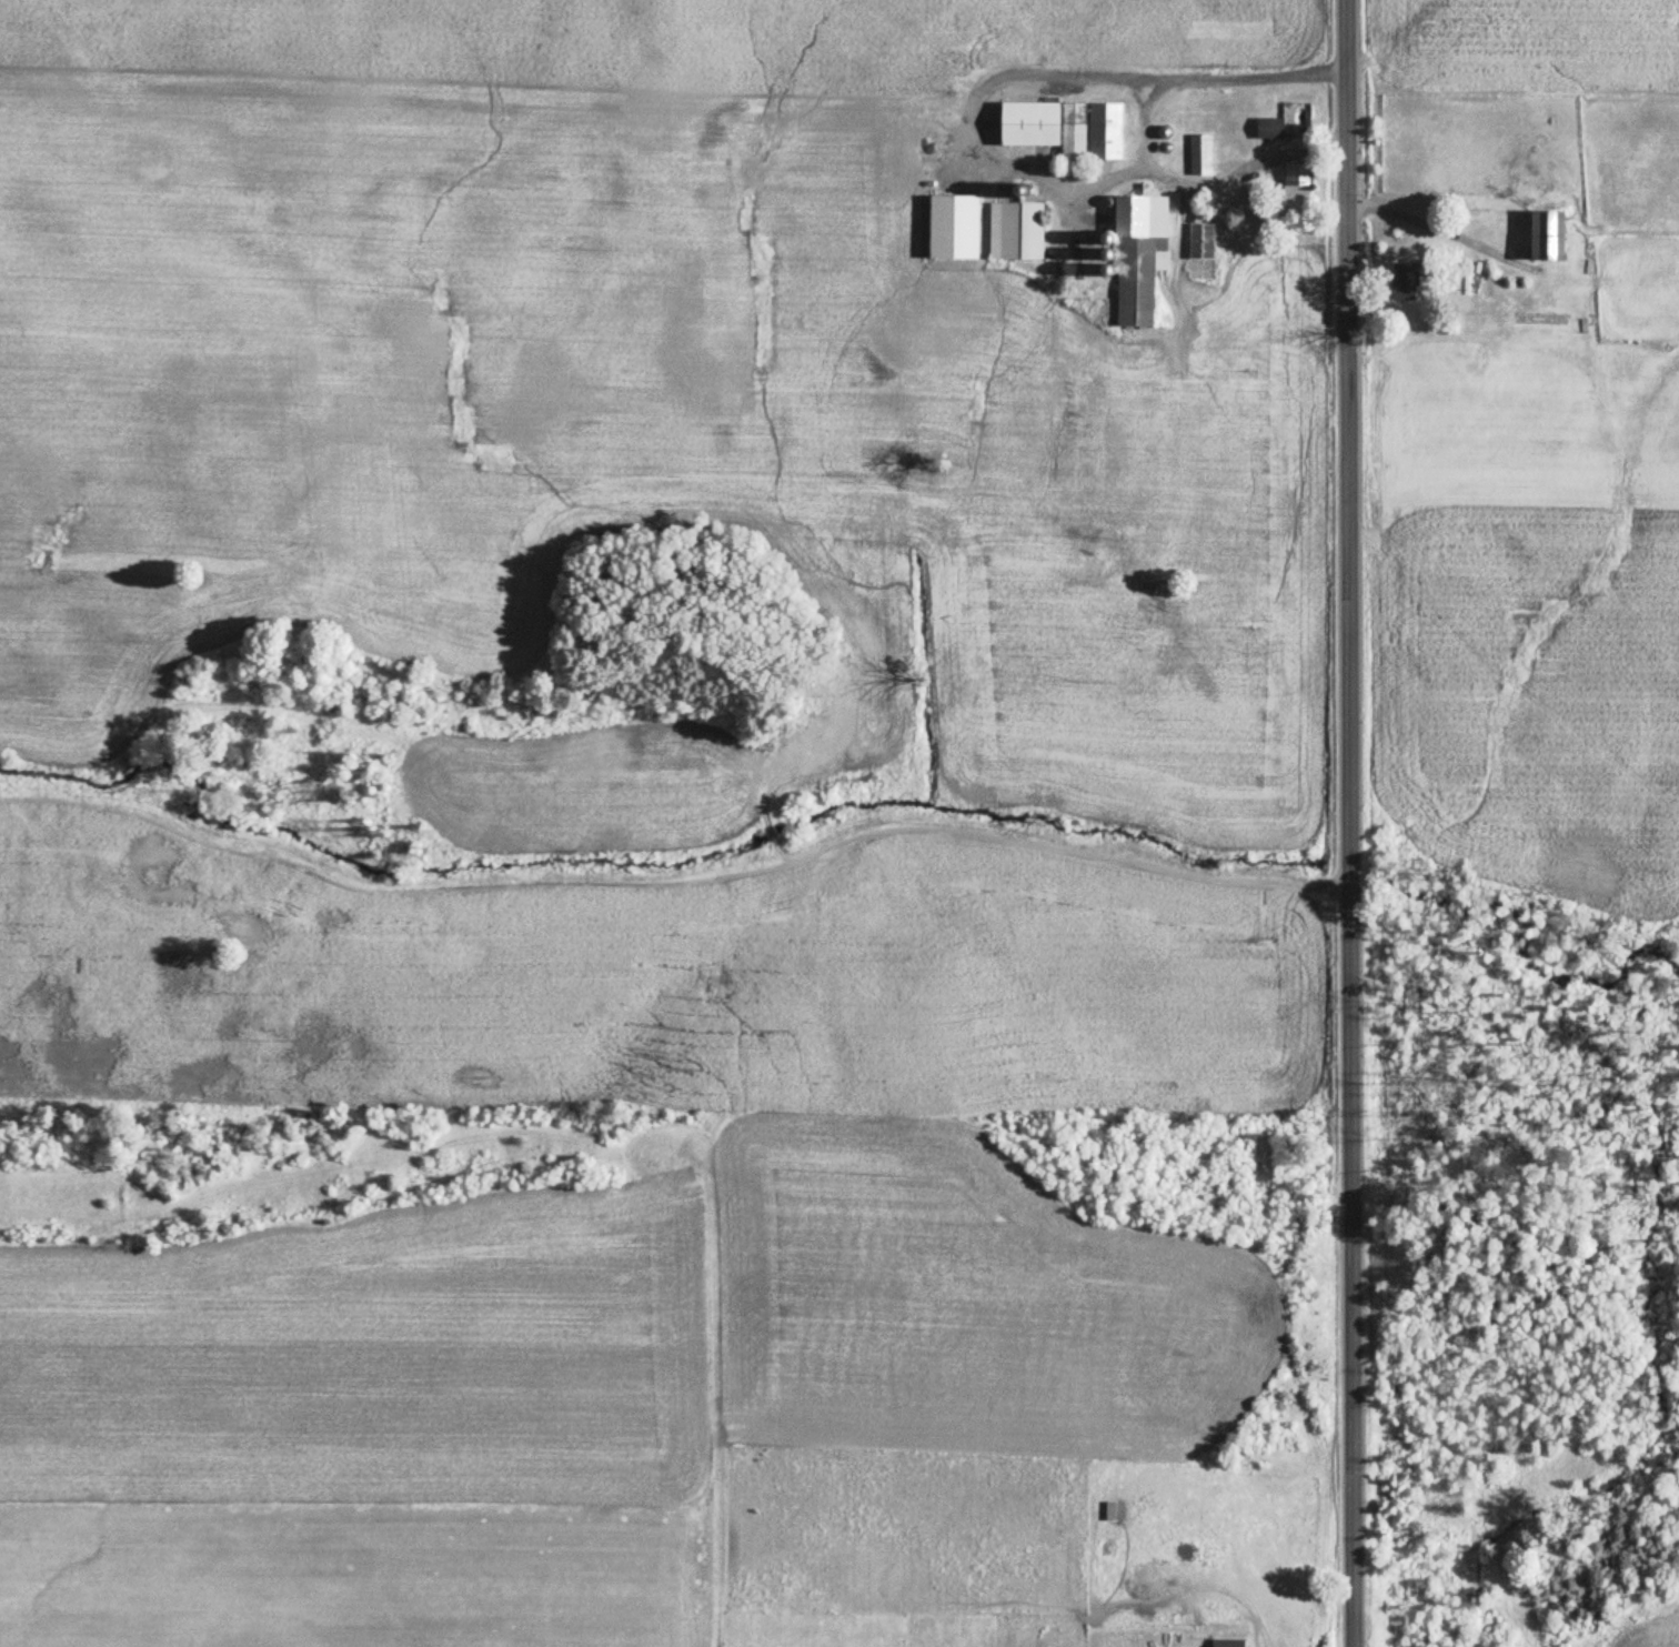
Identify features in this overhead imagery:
building: (1270, 128)
building: (1065, 129)
building: (1203, 155)
road: (1227, 178)
building: (1296, 184)
building: (1016, 231)
building: (1546, 239)
building: (1202, 242)
building: (1136, 255)
building: (1405, 283)
road: (1350, 823)
building: (1110, 1512)
building: (1228, 1643)

